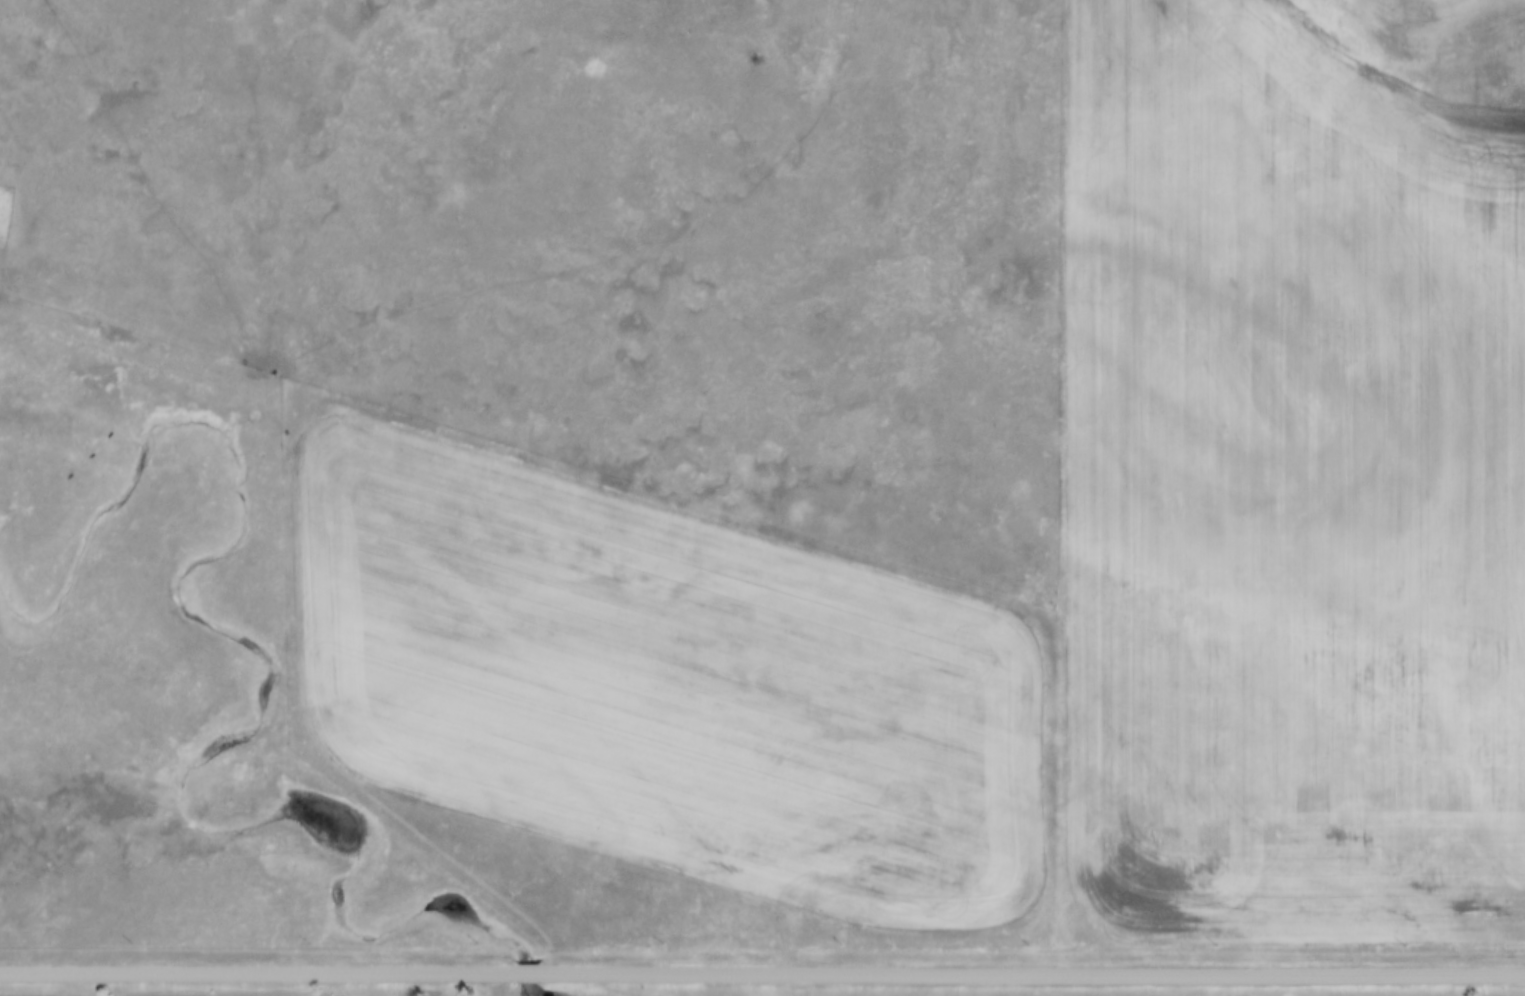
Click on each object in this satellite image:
road: (255, 971)
road: (519, 972)
road: (1027, 974)

